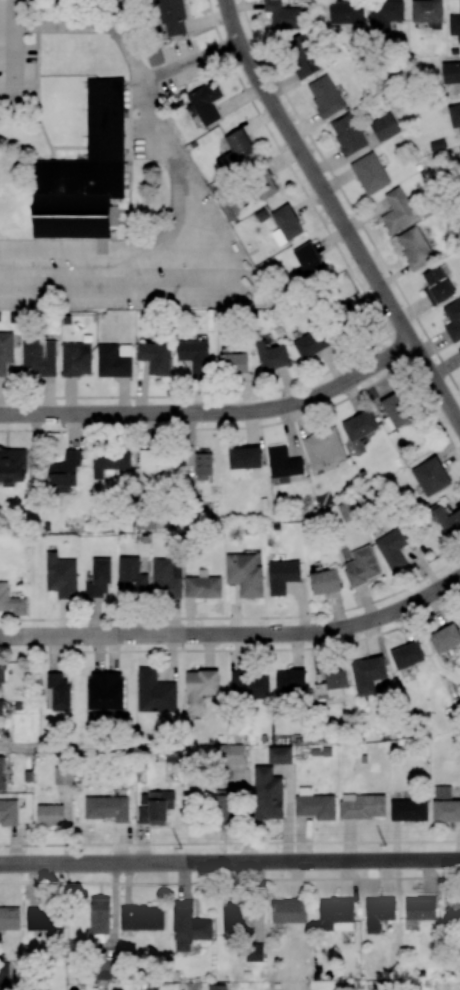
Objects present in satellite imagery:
building: (459, 4)
building: (427, 11)
building: (347, 12)
road: (17, 13)
building: (384, 15)
building: (282, 16)
building: (172, 17)
building: (454, 26)
building: (301, 56)
building: (154, 57)
building: (451, 72)
road: (18, 74)
road: (147, 94)
building: (325, 96)
building: (206, 103)
building: (454, 115)
building: (384, 127)
building: (347, 134)
building: (459, 149)
building: (235, 150)
building: (369, 173)
building: (83, 177)
building: (263, 185)
building: (397, 211)
road: (337, 213)
building: (285, 224)
building: (415, 249)
road: (112, 251)
building: (307, 262)
road: (124, 271)
building: (437, 285)
road: (146, 291)
building: (453, 320)
building: (310, 344)
building: (459, 349)
building: (5, 351)
building: (194, 355)
building: (271, 356)
building: (155, 357)
building: (39, 358)
building: (76, 359)
building: (114, 360)
building: (233, 363)
building: (395, 410)
road: (214, 413)
building: (359, 426)
building: (323, 449)
building: (243, 460)
building: (109, 462)
building: (203, 464)
building: (283, 464)
building: (160, 465)
building: (12, 466)
building: (64, 472)
building: (430, 476)
building: (447, 521)
building: (392, 549)
building: (361, 566)
building: (244, 574)
building: (282, 575)
building: (61, 576)
building: (131, 577)
building: (99, 578)
building: (166, 578)
building: (324, 582)
building: (203, 585)
building: (11, 601)
road: (236, 616)
road: (235, 634)
building: (445, 638)
building: (406, 655)
building: (2, 673)
building: (367, 675)
building: (290, 682)
building: (331, 683)
building: (249, 686)
building: (200, 687)
building: (105, 690)
building: (57, 692)
building: (154, 692)
building: (1, 707)
building: (229, 754)
building: (279, 755)
building: (1, 773)
building: (63, 777)
building: (267, 794)
building: (314, 804)
building: (445, 805)
building: (362, 806)
building: (154, 807)
building: (107, 808)
building: (223, 808)
building: (408, 810)
building: (8, 812)
building: (49, 815)
road: (230, 842)
power tower: (384, 846)
power tower: (180, 848)
road: (230, 862)
road: (229, 879)
building: (455, 907)
building: (420, 909)
building: (288, 911)
building: (378, 913)
building: (99, 915)
building: (336, 915)
building: (232, 917)
building: (9, 918)
building: (141, 918)
building: (44, 919)
building: (188, 926)
building: (254, 952)
building: (103, 972)
building: (3, 979)
building: (217, 987)

